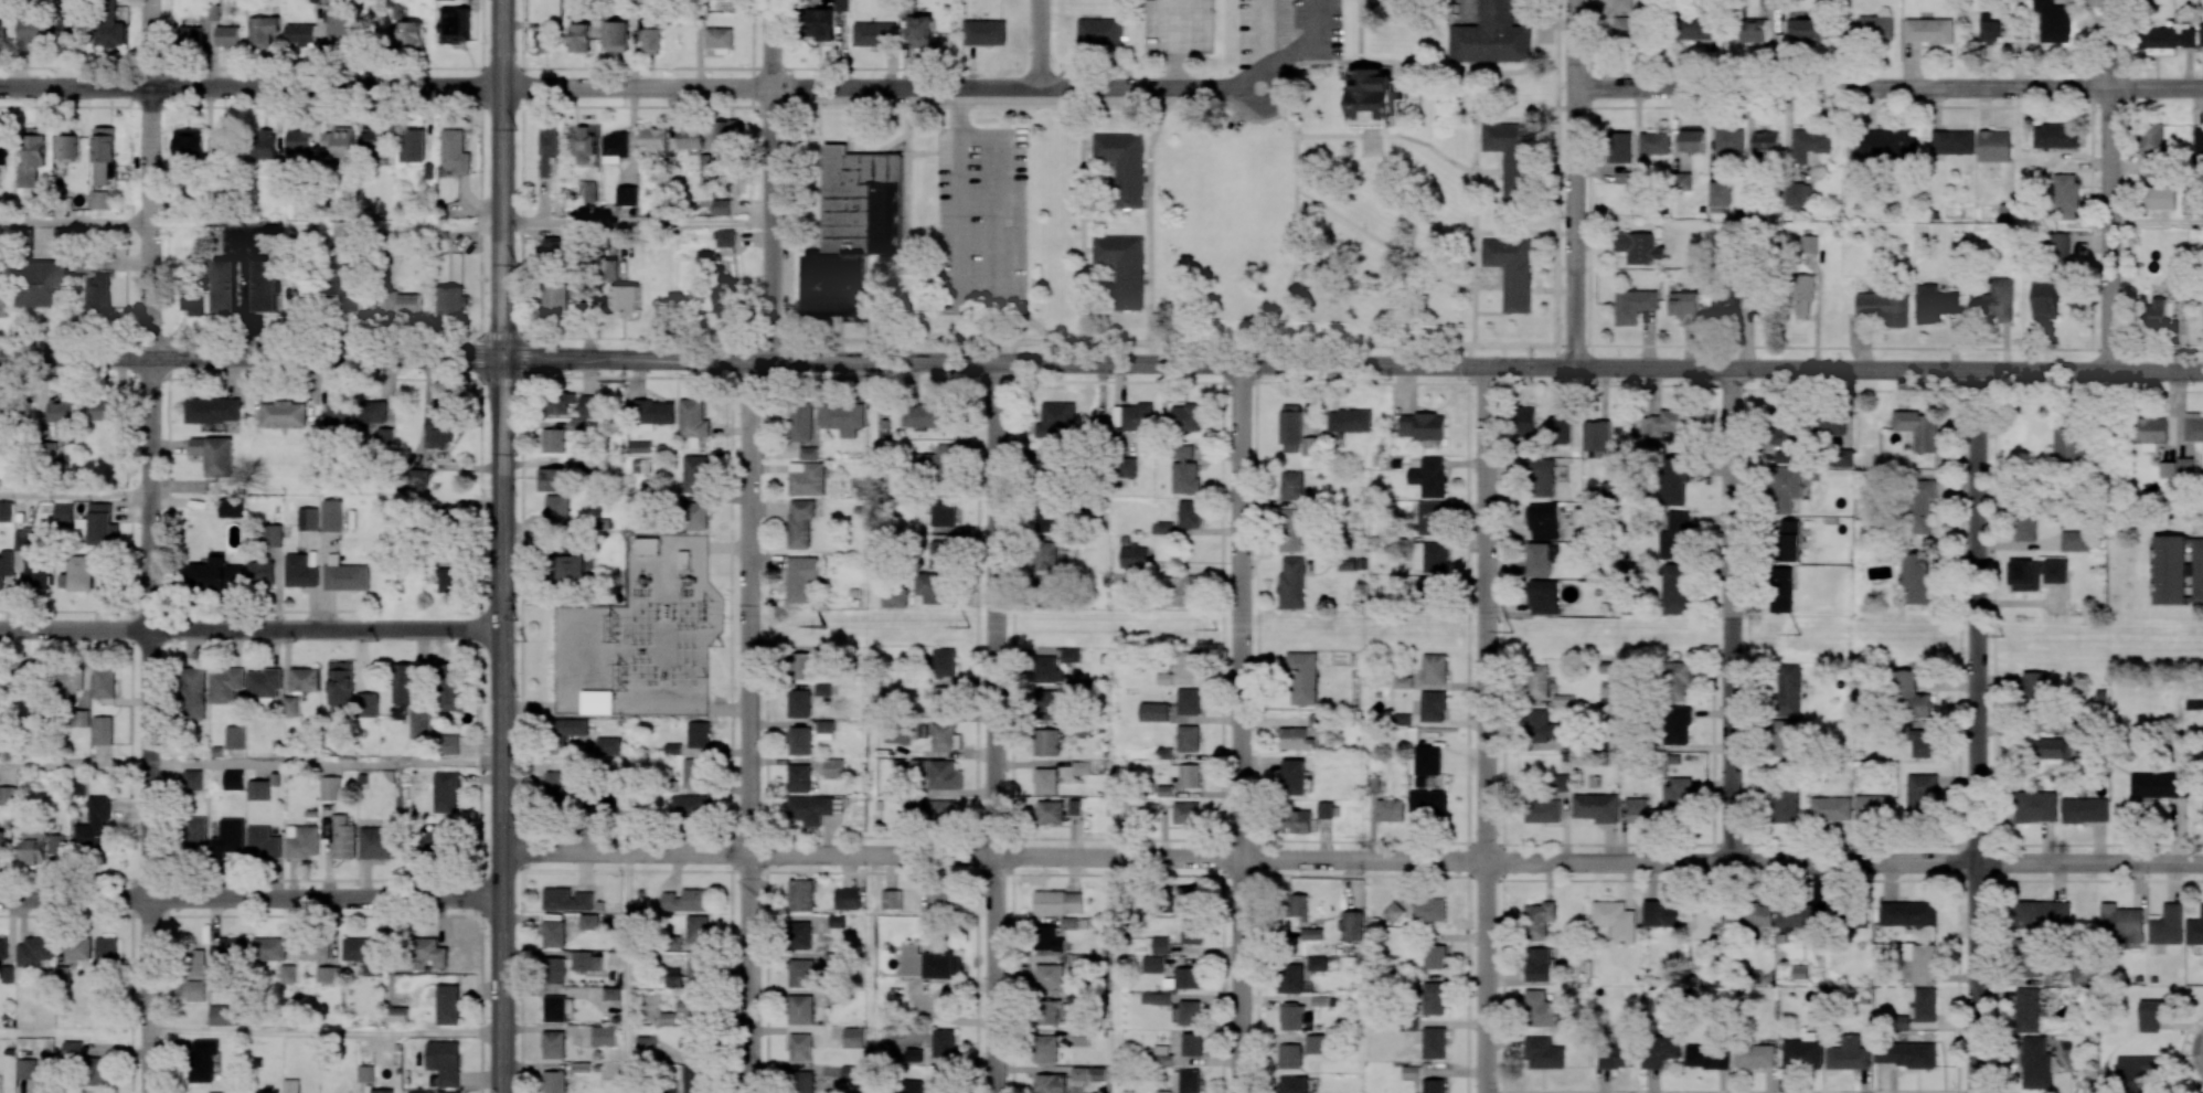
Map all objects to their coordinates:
building: (841, 4)
building: (1622, 6)
building: (2053, 21)
building: (820, 23)
building: (455, 24)
building: (1696, 25)
building: (108, 26)
building: (338, 26)
building: (1874, 26)
building: (1626, 28)
building: (1803, 29)
building: (1989, 29)
building: (32, 30)
building: (68, 30)
building: (262, 30)
building: (1753, 30)
building: (920, 31)
building: (1098, 31)
building: (1928, 31)
building: (985, 32)
road: (1264, 32)
building: (299, 33)
building: (412, 33)
building: (874, 34)
building: (2201, 34)
building: (189, 35)
building: (226, 35)
building: (616, 35)
building: (650, 35)
road: (1312, 36)
building: (1490, 36)
building: (2168, 36)
building: (0, 38)
building: (581, 38)
building: (542, 39)
building: (720, 40)
road: (1041, 43)
road: (1177, 46)
road: (1269, 73)
road: (1888, 85)
road: (628, 87)
building: (1373, 98)
building: (725, 134)
building: (2055, 136)
building: (690, 138)
building: (2150, 138)
building: (652, 139)
building: (298, 140)
building: (1691, 140)
building: (1728, 140)
building: (3, 141)
building: (373, 141)
building: (1765, 141)
building: (224, 142)
building: (1808, 142)
building: (1952, 142)
building: (264, 144)
building: (583, 144)
building: (1653, 144)
building: (1885, 144)
building: (2197, 144)
building: (190, 145)
building: (340, 145)
building: (412, 145)
building: (1993, 146)
building: (68, 147)
building: (614, 147)
building: (1620, 147)
building: (547, 148)
building: (454, 151)
building: (103, 152)
building: (1509, 155)
building: (32, 156)
building: (1122, 166)
road: (151, 179)
road: (771, 180)
building: (1681, 181)
road: (1576, 183)
road: (2111, 185)
building: (589, 190)
building: (1718, 193)
building: (1797, 193)
building: (626, 195)
building: (2065, 197)
building: (2160, 198)
building: (99, 199)
building: (722, 206)
road: (2157, 221)
road: (75, 223)
road: (637, 226)
building: (854, 229)
building: (725, 237)
building: (1809, 244)
building: (2058, 245)
building: (554, 248)
building: (1639, 248)
building: (1122, 267)
building: (609, 268)
building: (1510, 270)
building: (42, 284)
building: (266, 285)
building: (225, 286)
building: (1802, 295)
building: (98, 296)
building: (726, 296)
building: (624, 298)
building: (3, 299)
building: (555, 299)
building: (2045, 299)
building: (299, 300)
building: (450, 300)
building: (1994, 300)
building: (402, 301)
building: (191, 303)
building: (1934, 304)
building: (1632, 305)
building: (1724, 305)
building: (1757, 306)
road: (981, 307)
building: (1684, 307)
building: (1884, 307)
building: (2156, 311)
road: (430, 339)
traffic signals: (503, 359)
road: (1101, 362)
building: (560, 403)
building: (588, 405)
building: (12, 408)
building: (212, 408)
building: (103, 410)
building: (653, 411)
building: (379, 412)
building: (339, 413)
building: (283, 414)
building: (927, 415)
building: (61, 416)
building: (1131, 416)
building: (842, 417)
building: (1185, 417)
building: (1054, 418)
building: (1349, 420)
building: (1524, 420)
building: (692, 421)
building: (800, 422)
building: (441, 423)
building: (1668, 424)
building: (1097, 425)
building: (1830, 425)
building: (1422, 426)
building: (1780, 426)
building: (2193, 426)
building: (1918, 427)
building: (1290, 428)
building: (1557, 429)
building: (2150, 432)
building: (385, 435)
building: (1597, 435)
building: (553, 441)
building: (2066, 443)
building: (638, 446)
building: (1309, 446)
building: (808, 453)
building: (214, 456)
building: (1842, 457)
building: (934, 461)
building: (1043, 463)
building: (2184, 466)
building: (1128, 467)
building: (1184, 469)
building: (2167, 469)
building: (694, 473)
building: (1428, 476)
building: (417, 478)
building: (806, 478)
building: (1540, 478)
building: (554, 479)
building: (1673, 480)
building: (1291, 485)
building: (1785, 488)
road: (75, 496)
building: (1919, 505)
building: (230, 507)
building: (556, 509)
building: (7, 511)
building: (943, 511)
building: (448, 512)
building: (62, 513)
building: (1189, 513)
building: (331, 514)
building: (695, 516)
building: (1046, 518)
building: (1429, 518)
building: (307, 519)
building: (1543, 521)
building: (800, 522)
building: (99, 523)
building: (2024, 527)
building: (1290, 530)
building: (272, 534)
building: (1675, 537)
building: (24, 539)
building: (1788, 540)
building: (2073, 541)
building: (645, 544)
road: (503, 546)
building: (941, 553)
building: (1044, 555)
building: (1134, 556)
building: (1428, 556)
building: (1537, 559)
building: (680, 560)
building: (6, 564)
building: (574, 565)
building: (2170, 570)
building: (2196, 570)
building: (299, 571)
building: (260, 572)
building: (2056, 572)
building: (38, 573)
building: (78, 573)
building: (214, 574)
building: (2025, 576)
building: (347, 577)
building: (800, 577)
building: (1916, 577)
building: (447, 579)
building: (1291, 582)
building: (1427, 584)
building: (933, 587)
building: (1675, 588)
building: (1781, 590)
building: (1181, 591)
building: (1542, 596)
building: (893, 597)
power tower: (707, 612)
road: (1733, 615)
power tower: (519, 619)
power tower: (613, 626)
power tower: (824, 626)
power tower: (969, 626)
road: (252, 629)
power tower: (1216, 629)
power tower: (1513, 632)
power tower: (1800, 635)
power substation: (642, 636)
power tower: (2003, 636)
power tower: (723, 646)
building: (944, 662)
building: (1189, 664)
building: (801, 665)
building: (1608, 667)
building: (1045, 669)
building: (1434, 669)
power tower: (622, 675)
building: (1301, 678)
building: (71, 679)
building: (304, 679)
building: (1677, 680)
building: (1536, 681)
building: (104, 682)
building: (263, 682)
building: (1401, 682)
building: (341, 683)
building: (404, 683)
building: (224, 685)
building: (451, 687)
building: (2035, 688)
building: (1787, 690)
building: (192, 693)
building: (1911, 696)
power tower: (519, 697)
building: (943, 700)
building: (594, 701)
building: (1188, 701)
building: (800, 703)
building: (366, 704)
building: (1047, 704)
building: (1432, 705)
building: (289, 707)
building: (1402, 709)
building: (1153, 712)
building: (79, 718)
building: (419, 723)
road: (151, 725)
building: (1540, 725)
building: (1677, 725)
building: (570, 726)
road: (749, 726)
road: (997, 728)
road: (1242, 729)
road: (1487, 729)
building: (102, 730)
building: (824, 730)
road: (1978, 732)
building: (698, 734)
building: (234, 736)
building: (943, 736)
building: (1785, 737)
building: (1188, 739)
building: (1296, 739)
building: (799, 741)
building: (1046, 742)
building: (1923, 742)
building: (447, 744)
building: (607, 745)
building: (2055, 749)
building: (1163, 753)
building: (1427, 761)
road: (75, 764)
road: (327, 764)
building: (1081, 767)
building: (833, 768)
building: (694, 772)
building: (945, 775)
building: (1189, 775)
building: (1294, 776)
building: (235, 778)
building: (798, 778)
building: (193, 779)
building: (1045, 781)
building: (1561, 783)
building: (1373, 784)
building: (2157, 785)
building: (554, 786)
building: (332, 787)
building: (259, 789)
building: (446, 792)
building: (1920, 794)
building: (7, 795)
building: (1678, 795)
building: (600, 799)
building: (1427, 803)
building: (689, 805)
building: (1784, 805)
building: (2035, 806)
building: (1596, 807)
building: (1873, 807)
building: (1830, 808)
building: (809, 809)
building: (1323, 809)
building: (1390, 809)
building: (939, 810)
building: (1542, 810)
building: (1639, 810)
building: (2084, 810)
building: (1050, 811)
building: (312, 813)
building: (1185, 814)
building: (1296, 821)
building: (95, 825)
building: (194, 834)
building: (339, 836)
building: (227, 838)
building: (301, 841)
building: (262, 842)
building: (375, 842)
building: (437, 843)
building: (1, 845)
building: (40, 846)
road: (1352, 858)
building: (800, 895)
road: (252, 899)
building: (566, 899)
building: (847, 899)
building: (891, 899)
building: (941, 899)
building: (1188, 899)
building: (687, 900)
building: (1058, 902)
building: (1297, 906)
building: (1428, 910)
building: (1393, 912)
building: (1839, 912)
building: (1662, 913)
building: (1907, 913)
building: (2041, 914)
building: (1748, 915)
building: (1798, 916)
building: (1539, 920)
building: (1615, 920)
building: (589, 921)
building: (836, 921)
building: (1703, 922)
building: (2120, 923)
building: (1352, 925)
building: (2167, 925)
building: (696, 928)
building: (2194, 930)
building: (1191, 932)
building: (553, 933)
building: (1311, 934)
building: (799, 935)
building: (1047, 938)
building: (1159, 945)
building: (3, 947)
building: (76, 949)
building: (33, 951)
building: (105, 951)
building: (231, 951)
building: (313, 951)
building: (429, 951)
building: (364, 953)
building: (1434, 956)
building: (833, 958)
building: (2026, 958)
building: (585, 961)
building: (195, 963)
building: (928, 963)
building: (1317, 963)
building: (1152, 964)
building: (1537, 964)
building: (1923, 964)
building: (695, 966)
building: (554, 969)
building: (1798, 972)
building: (800, 973)
building: (7, 974)
building: (328, 974)
road: (627, 974)
building: (1049, 976)
building: (1188, 977)
building: (1290, 978)
building: (195, 991)
building: (610, 994)
building: (834, 996)
building: (1156, 998)
building: (1433, 998)
building: (447, 1004)
building: (691, 1005)
building: (1925, 1005)
building: (554, 1008)
building: (800, 1009)
building: (1542, 1009)
building: (2026, 1009)
building: (1052, 1012)
building: (1189, 1012)
building: (222, 1015)
building: (400, 1015)
building: (2150, 1015)
building: (1291, 1017)
road: (75, 1033)
road: (327, 1033)
building: (604, 1036)
building: (852, 1037)
building: (1081, 1038)
building: (692, 1041)
building: (943, 1042)
building: (1434, 1042)
building: (1192, 1043)
building: (1315, 1043)
building: (553, 1044)
building: (799, 1047)
building: (646, 1048)
building: (72, 1049)
building: (1044, 1049)
building: (1659, 1050)
building: (1802, 1052)
building: (1543, 1053)
building: (1849, 1054)
building: (1905, 1054)
building: (1162, 1055)
building: (1290, 1055)
building: (1615, 1055)
building: (1706, 1055)
building: (1754, 1055)
building: (203, 1059)
building: (444, 1062)
building: (2035, 1063)
building: (26, 1069)
building: (98, 1070)
building: (2138, 1071)
building: (850, 1072)
building: (1079, 1072)
building: (1409, 1072)
building: (365, 1073)
building: (1097, 1073)
building: (692, 1079)
building: (1185, 1081)
building: (554, 1082)
building: (801, 1082)
building: (928, 1082)
building: (1050, 1083)
building: (1294, 1084)
building: (290, 1085)
building: (1433, 1085)
building: (267, 1091)
building: (382, 1091)
building: (216, 1092)
building: (418, 1092)
building: (448, 1092)
building: (1163, 1092)

